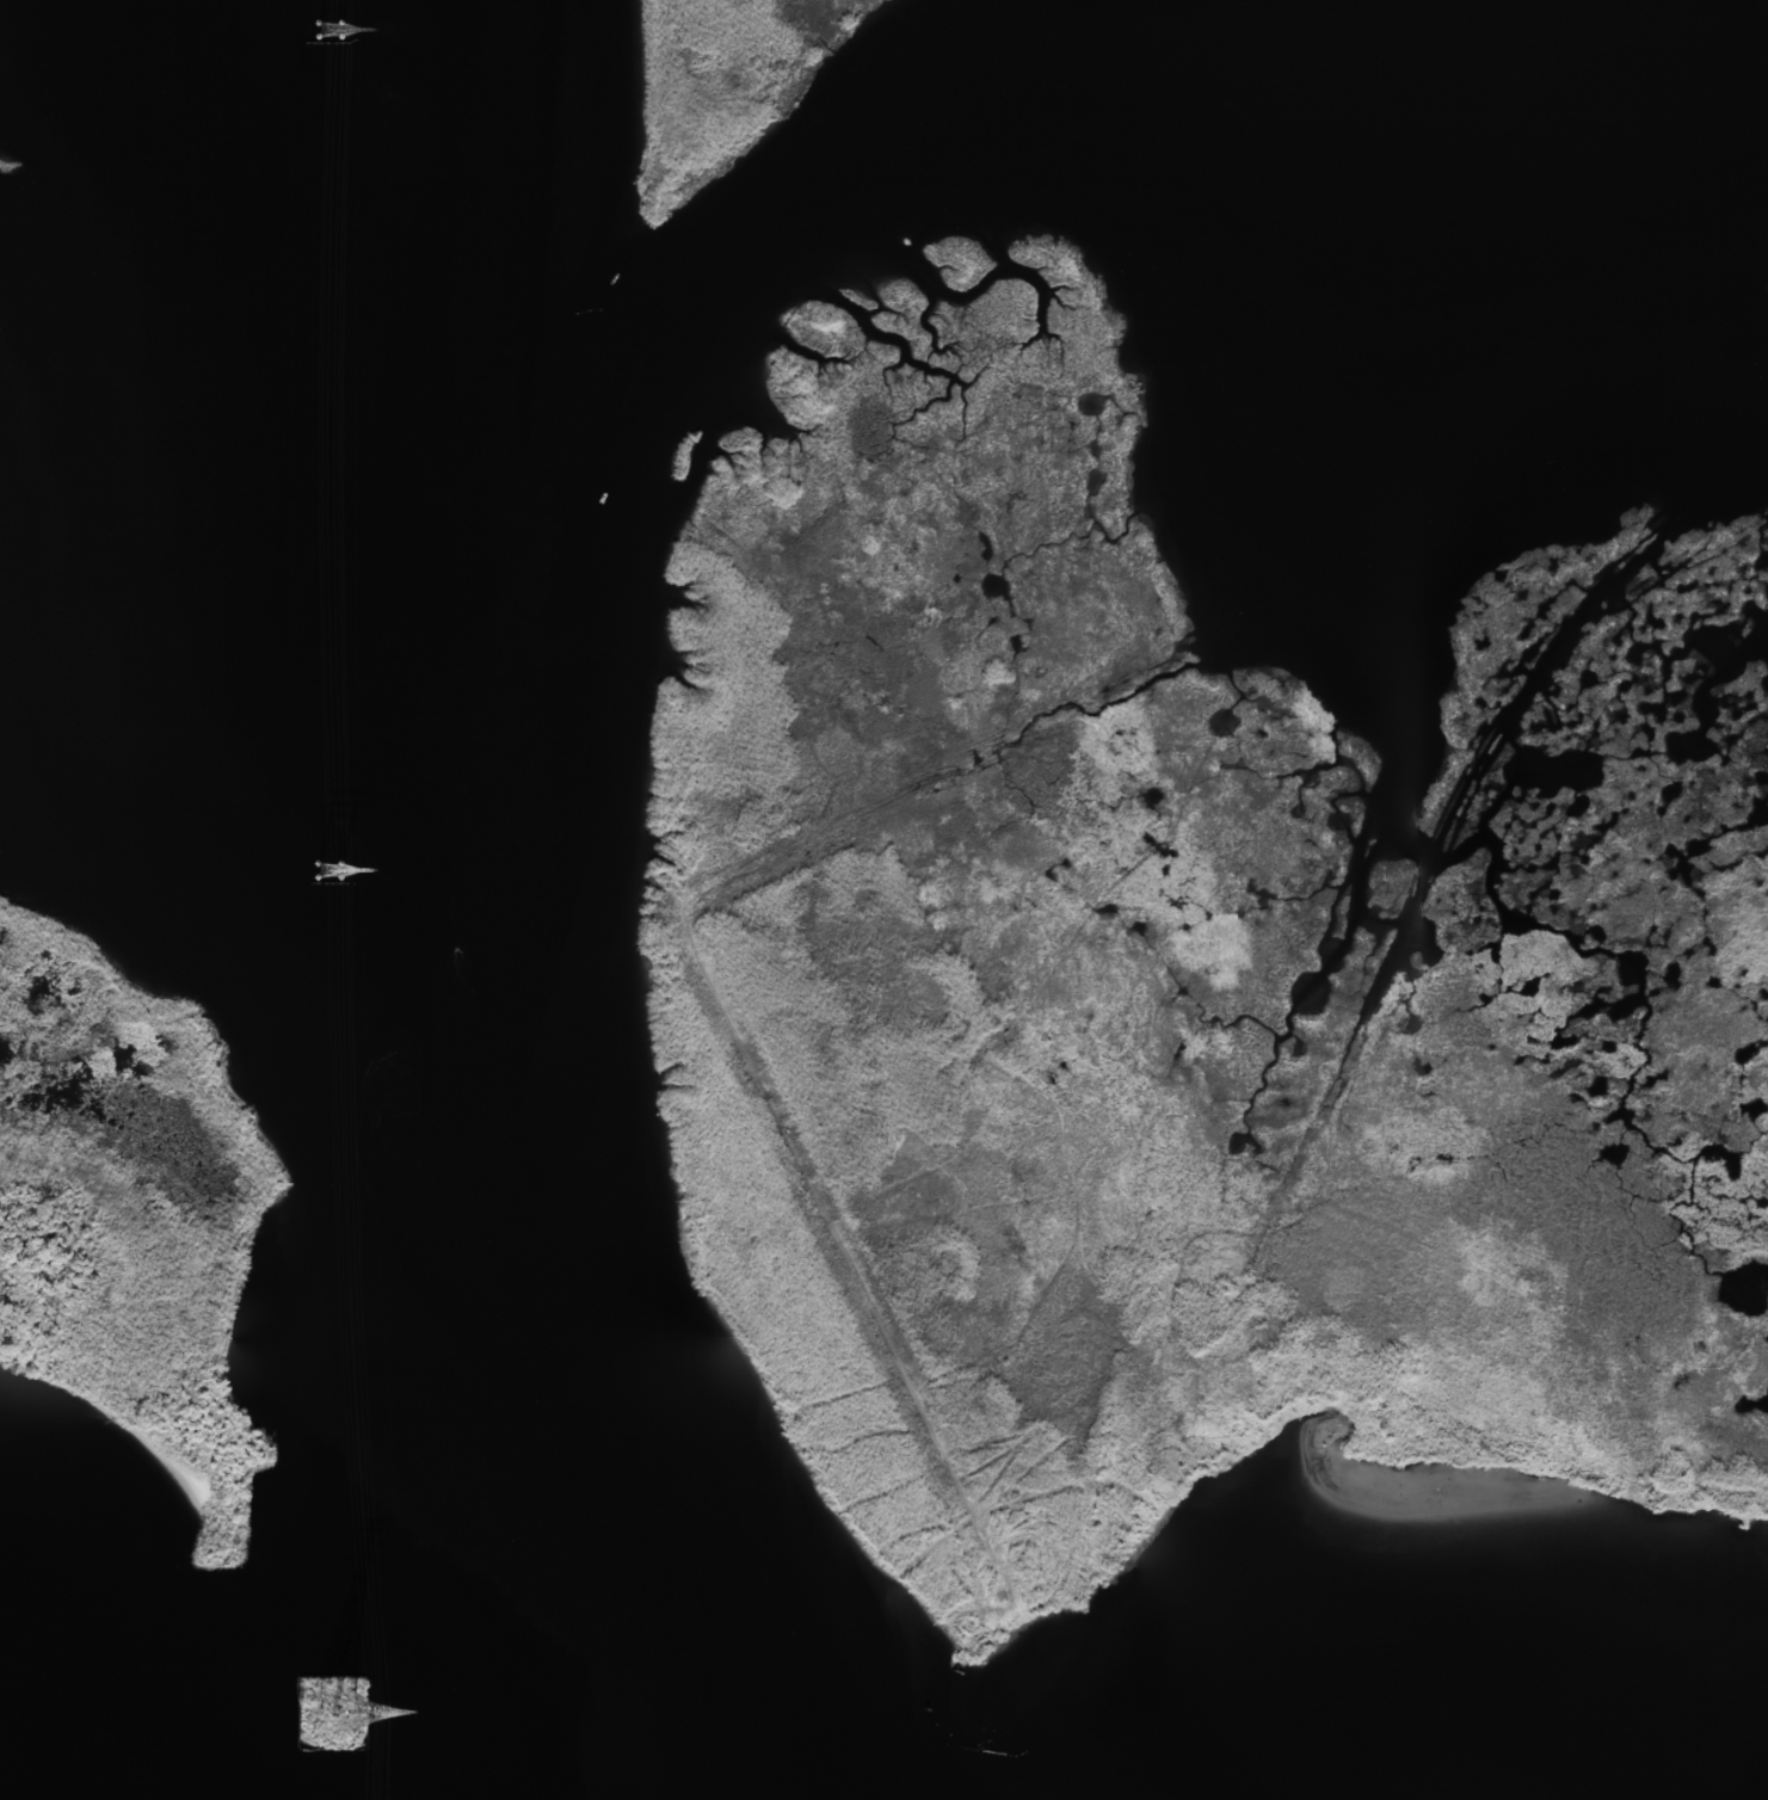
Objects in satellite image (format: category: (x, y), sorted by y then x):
power tower: (328, 30)
power tower: (329, 870)
power tower: (329, 1716)

